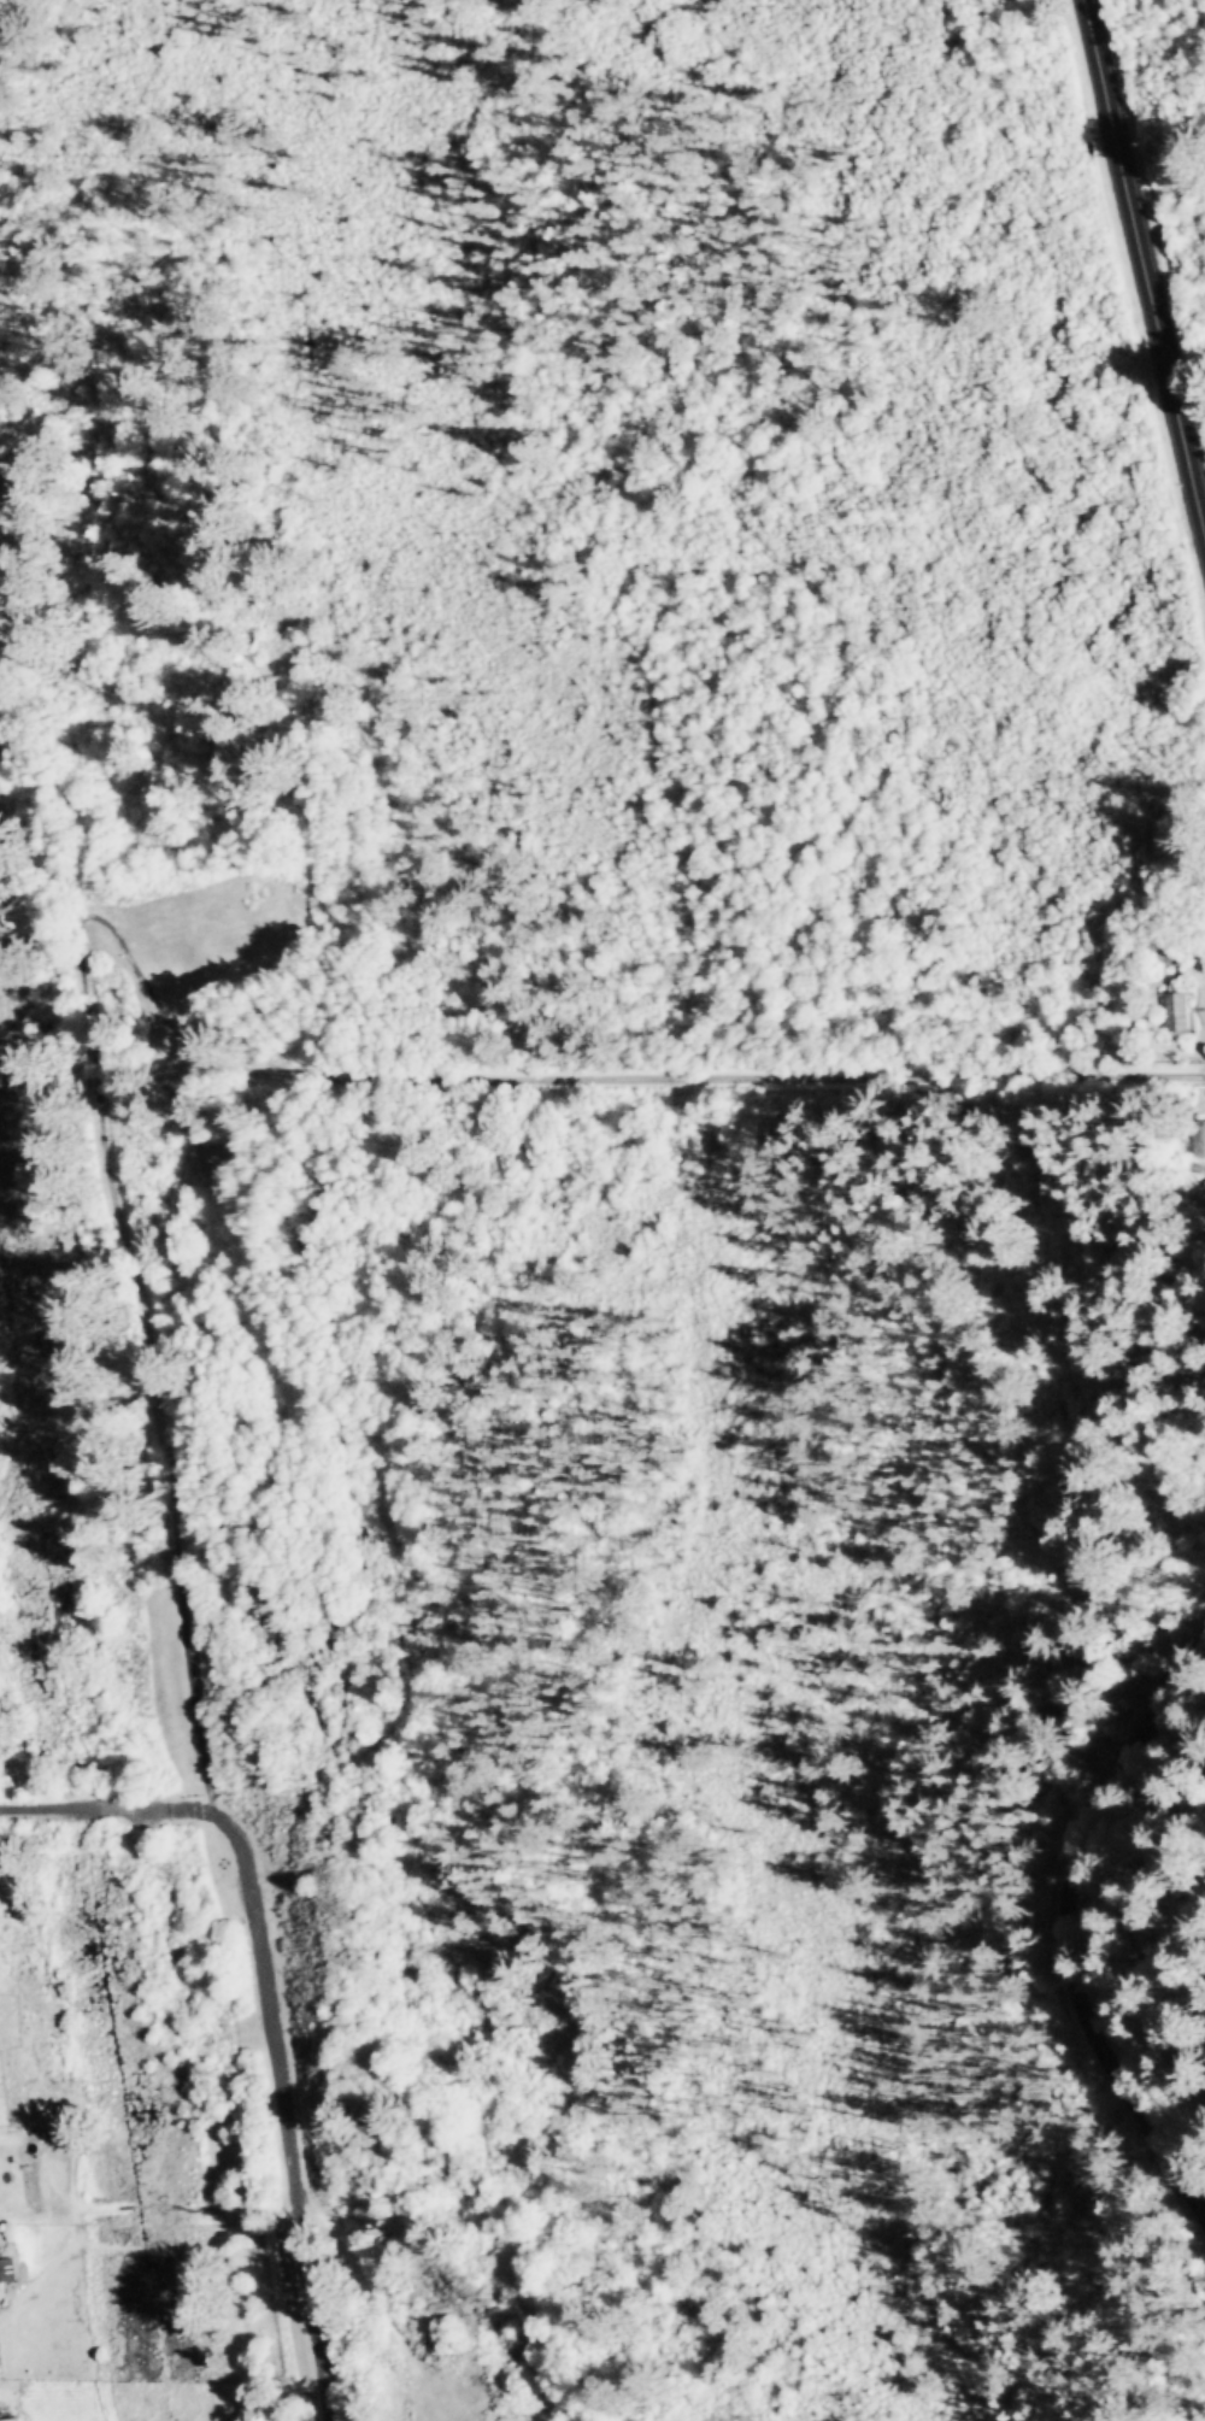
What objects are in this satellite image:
road: (1145, 263)
building: (1177, 1011)
park: (1170, 1029)
building: (1201, 1139)
railway: (114, 1301)
road: (116, 1812)
road: (1071, 1925)
road: (286, 2121)
building: (6, 2272)
building: (7, 2417)

